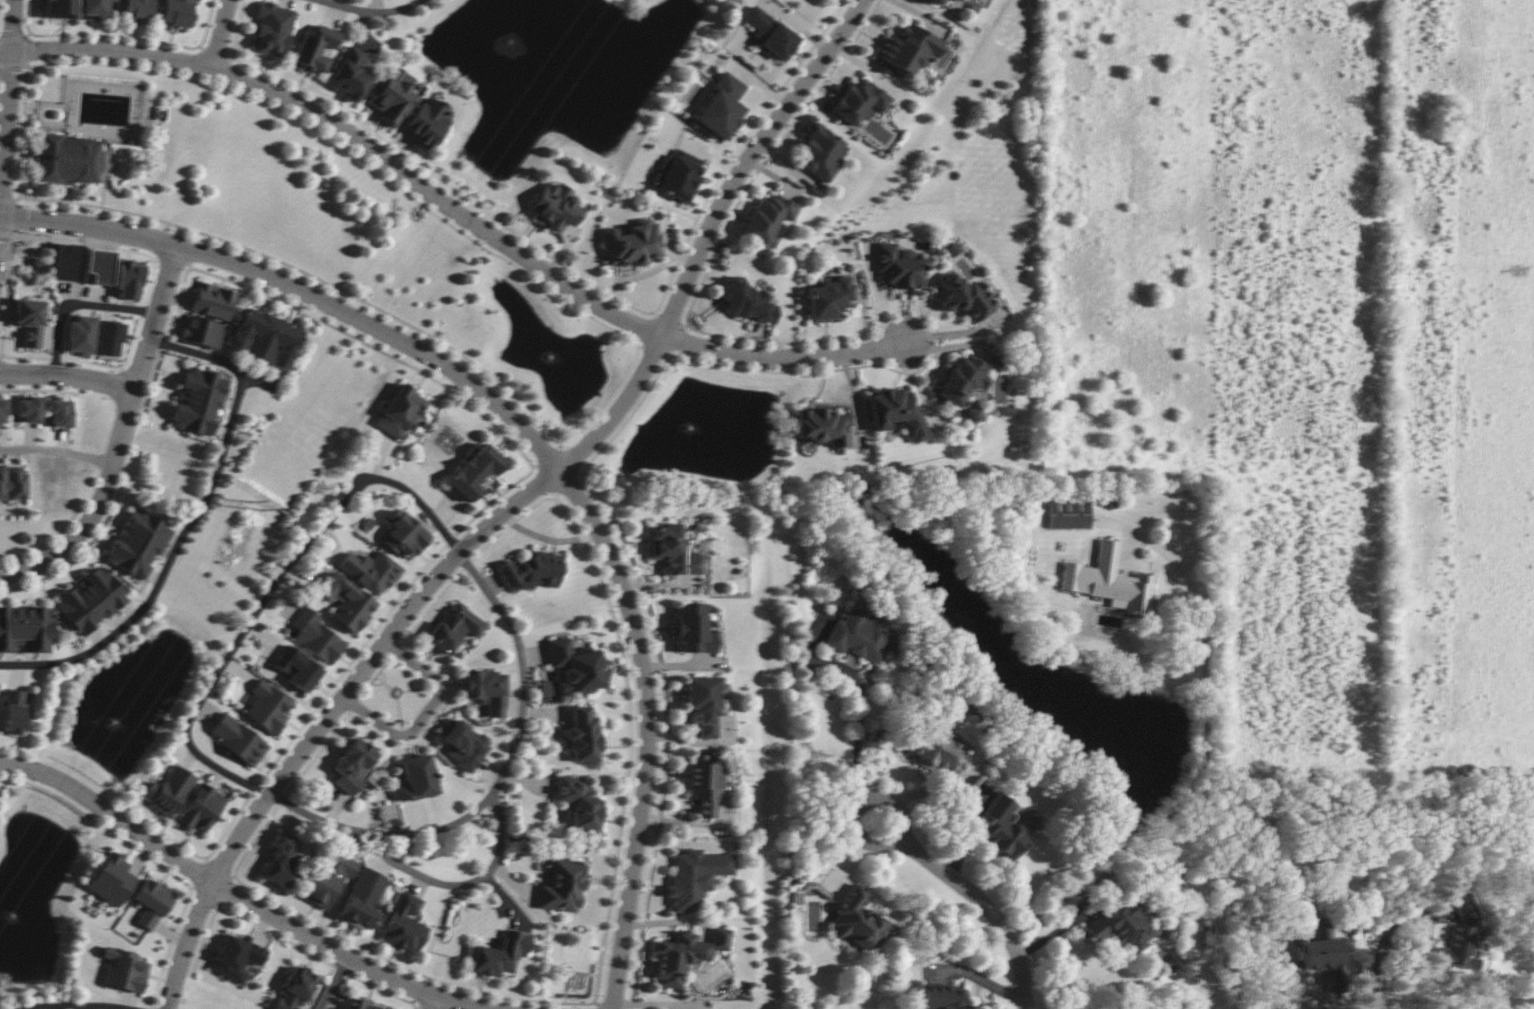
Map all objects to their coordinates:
building: (959, 0)
building: (61, 9)
building: (94, 9)
building: (137, 11)
building: (176, 13)
road: (372, 14)
building: (272, 29)
building: (770, 33)
road: (223, 34)
building: (315, 48)
building: (908, 49)
building: (349, 74)
building: (392, 95)
building: (859, 101)
building: (721, 107)
road: (7, 116)
building: (427, 122)
road: (353, 136)
building: (820, 152)
building: (69, 159)
building: (677, 176)
building: (554, 208)
road: (1, 213)
building: (767, 218)
road: (709, 236)
building: (631, 244)
building: (66, 262)
building: (100, 265)
building: (897, 267)
building: (829, 298)
building: (964, 298)
building: (213, 301)
building: (746, 301)
road: (77, 303)
building: (29, 320)
building: (201, 332)
building: (80, 335)
building: (265, 338)
building: (110, 340)
road: (212, 357)
road: (787, 359)
road: (67, 375)
building: (960, 378)
building: (198, 401)
building: (2, 406)
building: (27, 409)
building: (400, 411)
building: (59, 412)
building: (896, 412)
building: (973, 414)
building: (823, 426)
road: (120, 436)
road: (537, 444)
road: (57, 449)
building: (475, 471)
building: (11, 482)
power tower: (258, 505)
building: (1068, 513)
building: (404, 535)
road: (452, 539)
building: (138, 543)
building: (673, 550)
road: (167, 566)
building: (371, 571)
building: (534, 571)
building: (1107, 580)
building: (91, 600)
building: (346, 603)
building: (454, 628)
building: (26, 629)
building: (693, 630)
building: (860, 634)
building: (316, 637)
building: (576, 667)
building: (296, 669)
building: (486, 690)
building: (703, 704)
building: (268, 707)
building: (13, 712)
road: (329, 715)
road: (427, 717)
road: (858, 731)
building: (583, 735)
building: (238, 740)
building: (463, 745)
building: (938, 754)
building: (352, 765)
road: (1203, 770)
building: (415, 779)
building: (705, 784)
building: (169, 791)
building: (579, 803)
road: (861, 807)
building: (201, 808)
building: (1002, 828)
building: (281, 860)
building: (694, 878)
building: (112, 880)
building: (329, 880)
road: (467, 886)
building: (563, 886)
road: (240, 893)
building: (363, 898)
building: (151, 902)
road: (995, 912)
building: (858, 922)
building: (405, 923)
building: (1122, 926)
road: (1425, 931)
building: (1461, 933)
building: (500, 954)
building: (685, 955)
building: (1326, 956)
building: (236, 957)
building: (124, 970)
road: (1372, 980)
road: (337, 982)
building: (294, 989)
road: (1315, 994)
building: (942, 997)
road: (77, 1004)
road: (438, 1004)
building: (357, 1005)

